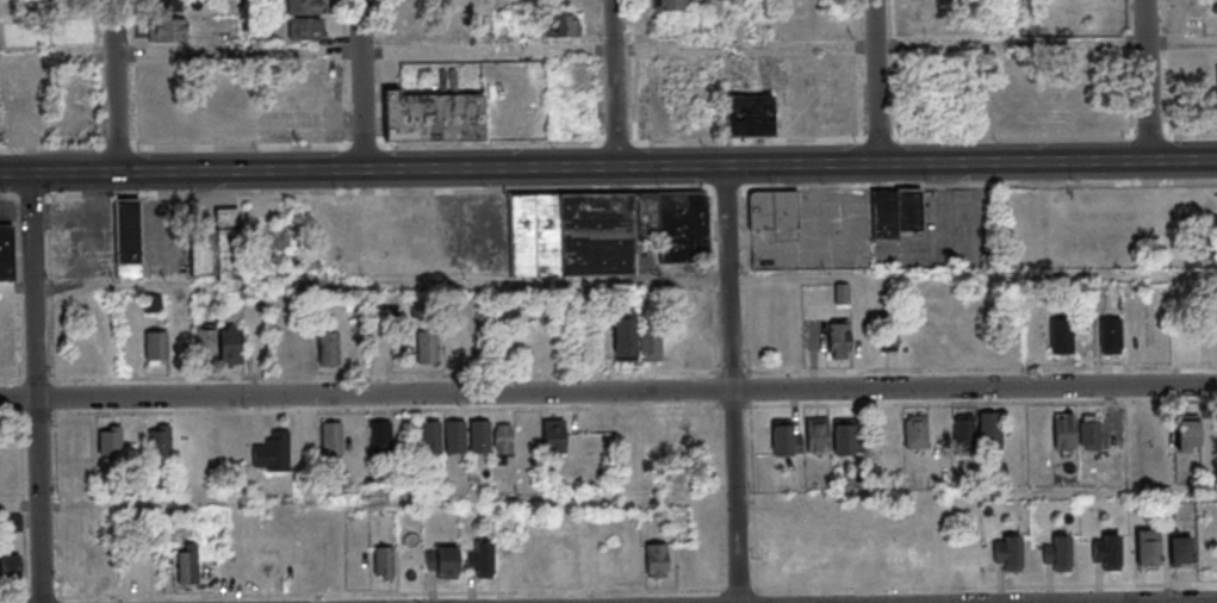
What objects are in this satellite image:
building: (167, 5)
building: (670, 6)
building: (305, 7)
road: (1018, 23)
building: (560, 24)
road: (491, 26)
building: (305, 27)
building: (168, 30)
building: (64, 32)
road: (668, 50)
road: (1149, 80)
road: (881, 82)
road: (616, 83)
road: (364, 85)
road: (120, 86)
building: (824, 97)
building: (433, 116)
building: (749, 117)
road: (0, 155)
road: (608, 167)
building: (772, 210)
building: (896, 212)
building: (604, 231)
building: (128, 237)
building: (218, 248)
building: (8, 253)
road: (608, 281)
building: (1111, 335)
building: (623, 336)
building: (1061, 336)
building: (889, 337)
building: (1207, 337)
building: (839, 340)
building: (204, 343)
building: (651, 343)
building: (1184, 343)
building: (230, 344)
building: (156, 347)
building: (426, 347)
building: (328, 348)
road: (735, 384)
road: (41, 388)
road: (608, 391)
building: (963, 429)
building: (915, 430)
building: (989, 430)
building: (1064, 430)
building: (890, 431)
building: (1091, 433)
building: (1187, 433)
building: (553, 435)
building: (816, 435)
building: (1209, 435)
building: (380, 436)
building: (429, 436)
building: (455, 436)
building: (479, 436)
building: (786, 436)
building: (843, 436)
building: (331, 437)
building: (677, 437)
building: (110, 441)
building: (159, 441)
building: (653, 441)
building: (503, 442)
building: (628, 442)
building: (82, 445)
building: (272, 452)
building: (70, 487)
road: (608, 498)
building: (1179, 546)
building: (1147, 549)
building: (1106, 551)
building: (555, 553)
building: (1007, 553)
building: (483, 560)
building: (656, 560)
building: (383, 561)
building: (441, 561)
building: (187, 562)
building: (10, 566)
building: (139, 567)
road: (1050, 601)

